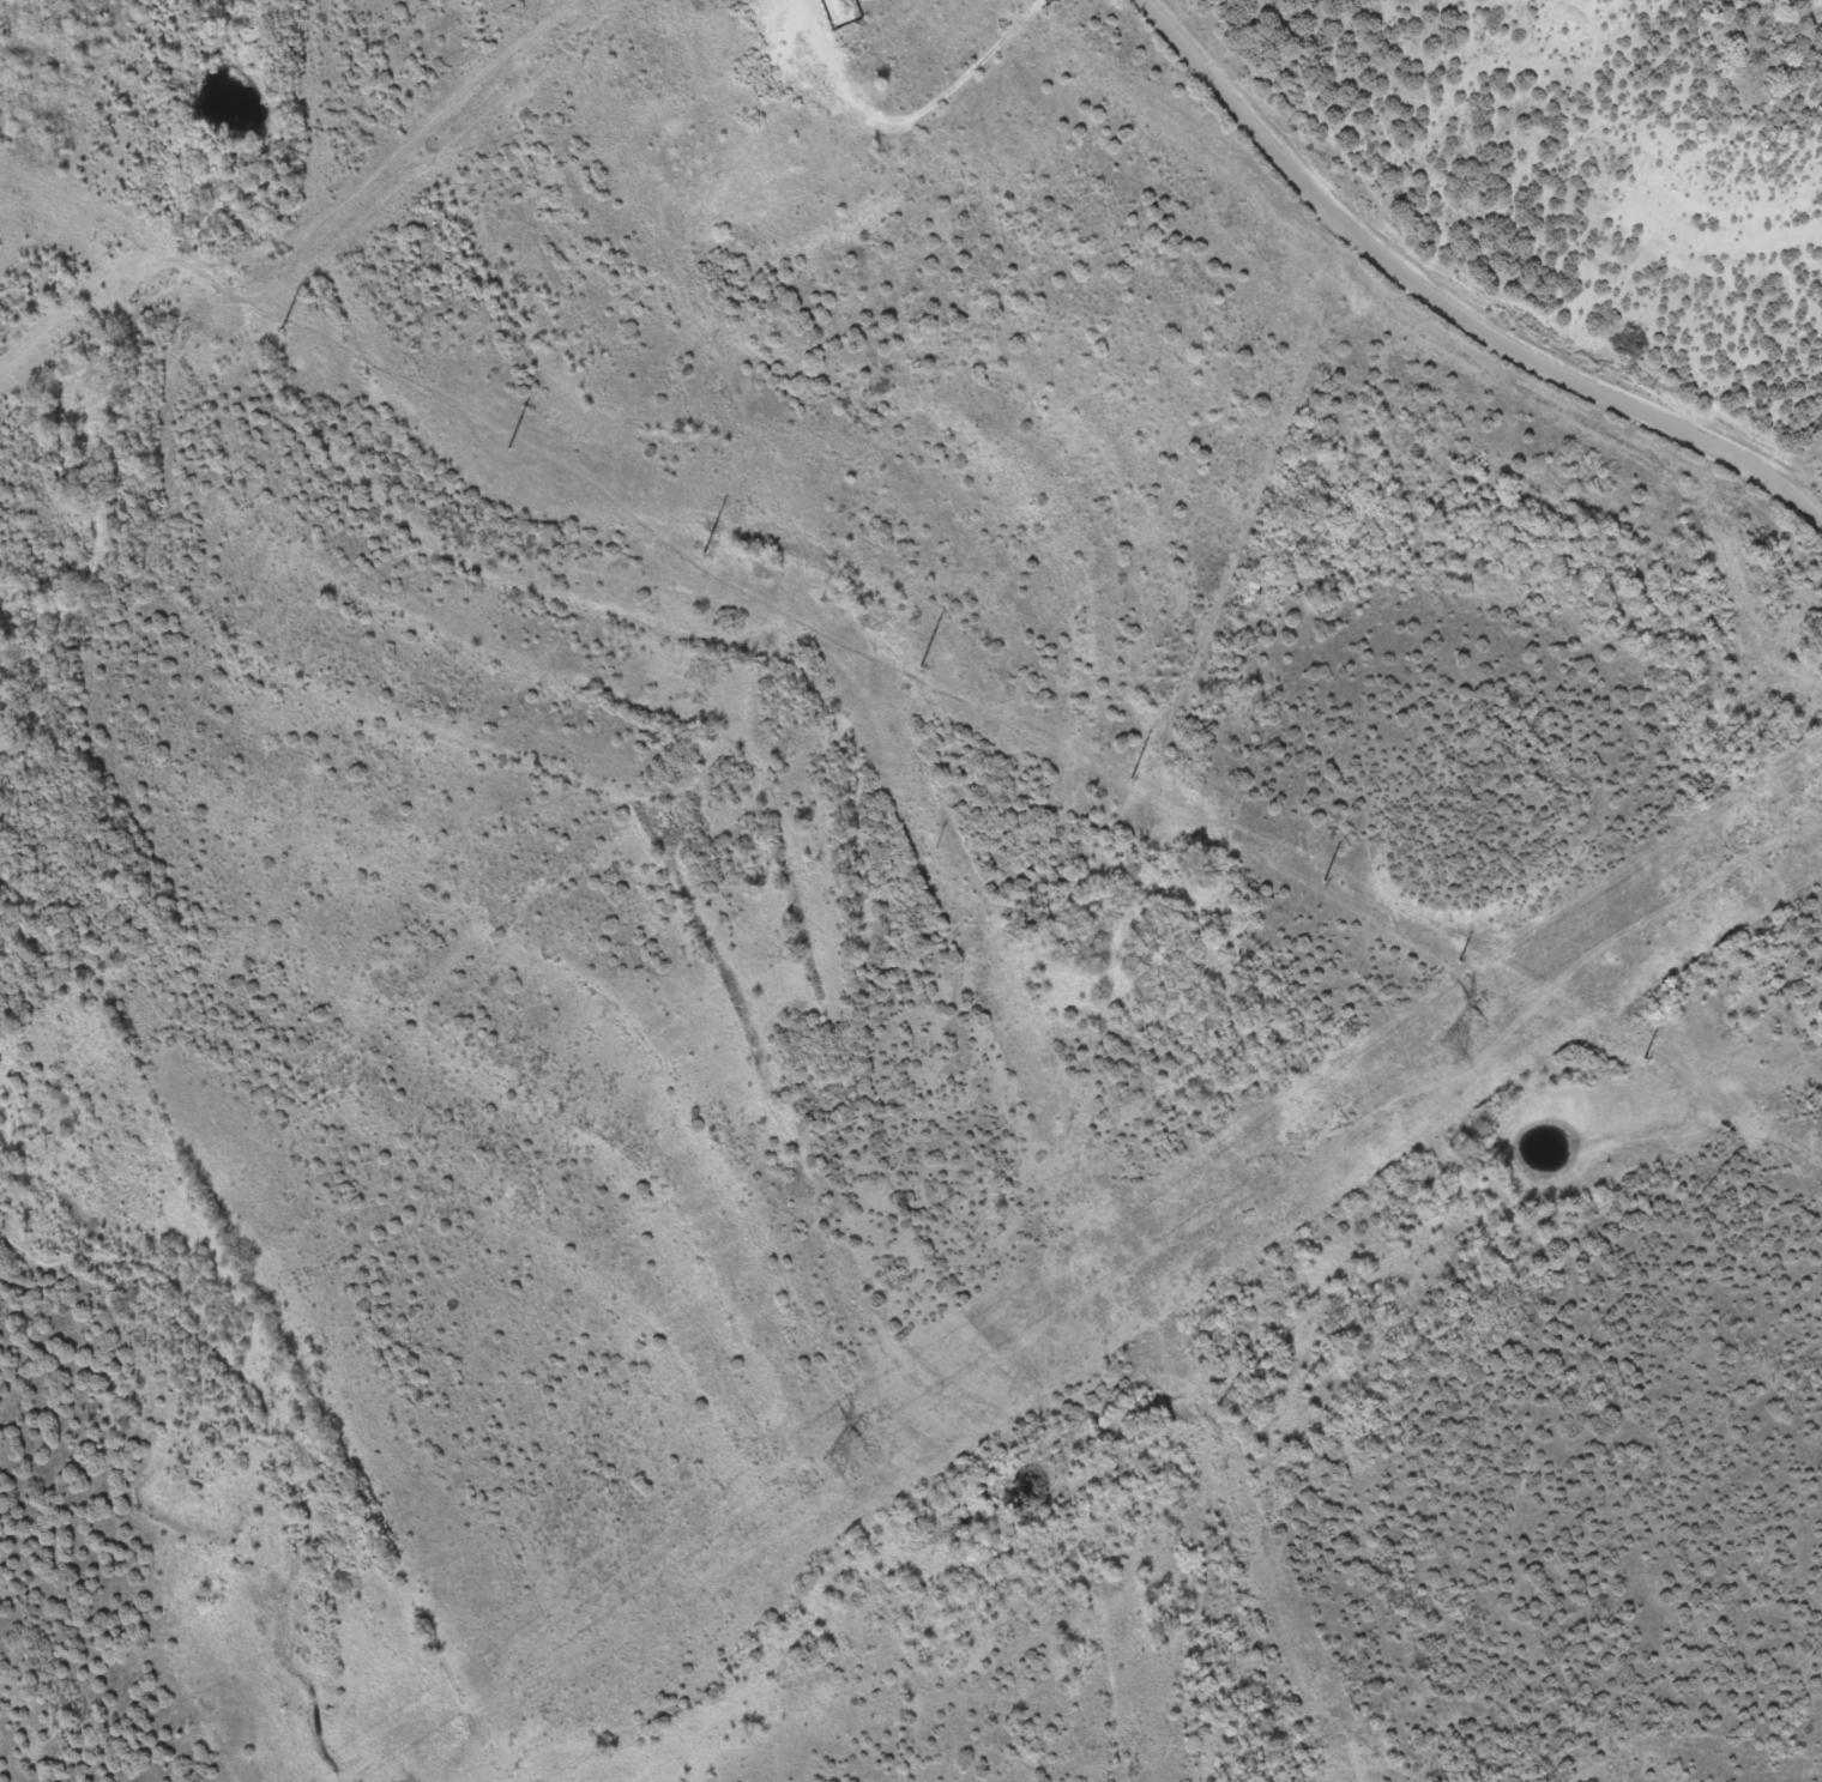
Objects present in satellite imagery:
road: (1432, 122)
road: (1442, 313)
power tower: (1461, 1049)
power tower: (838, 1466)

